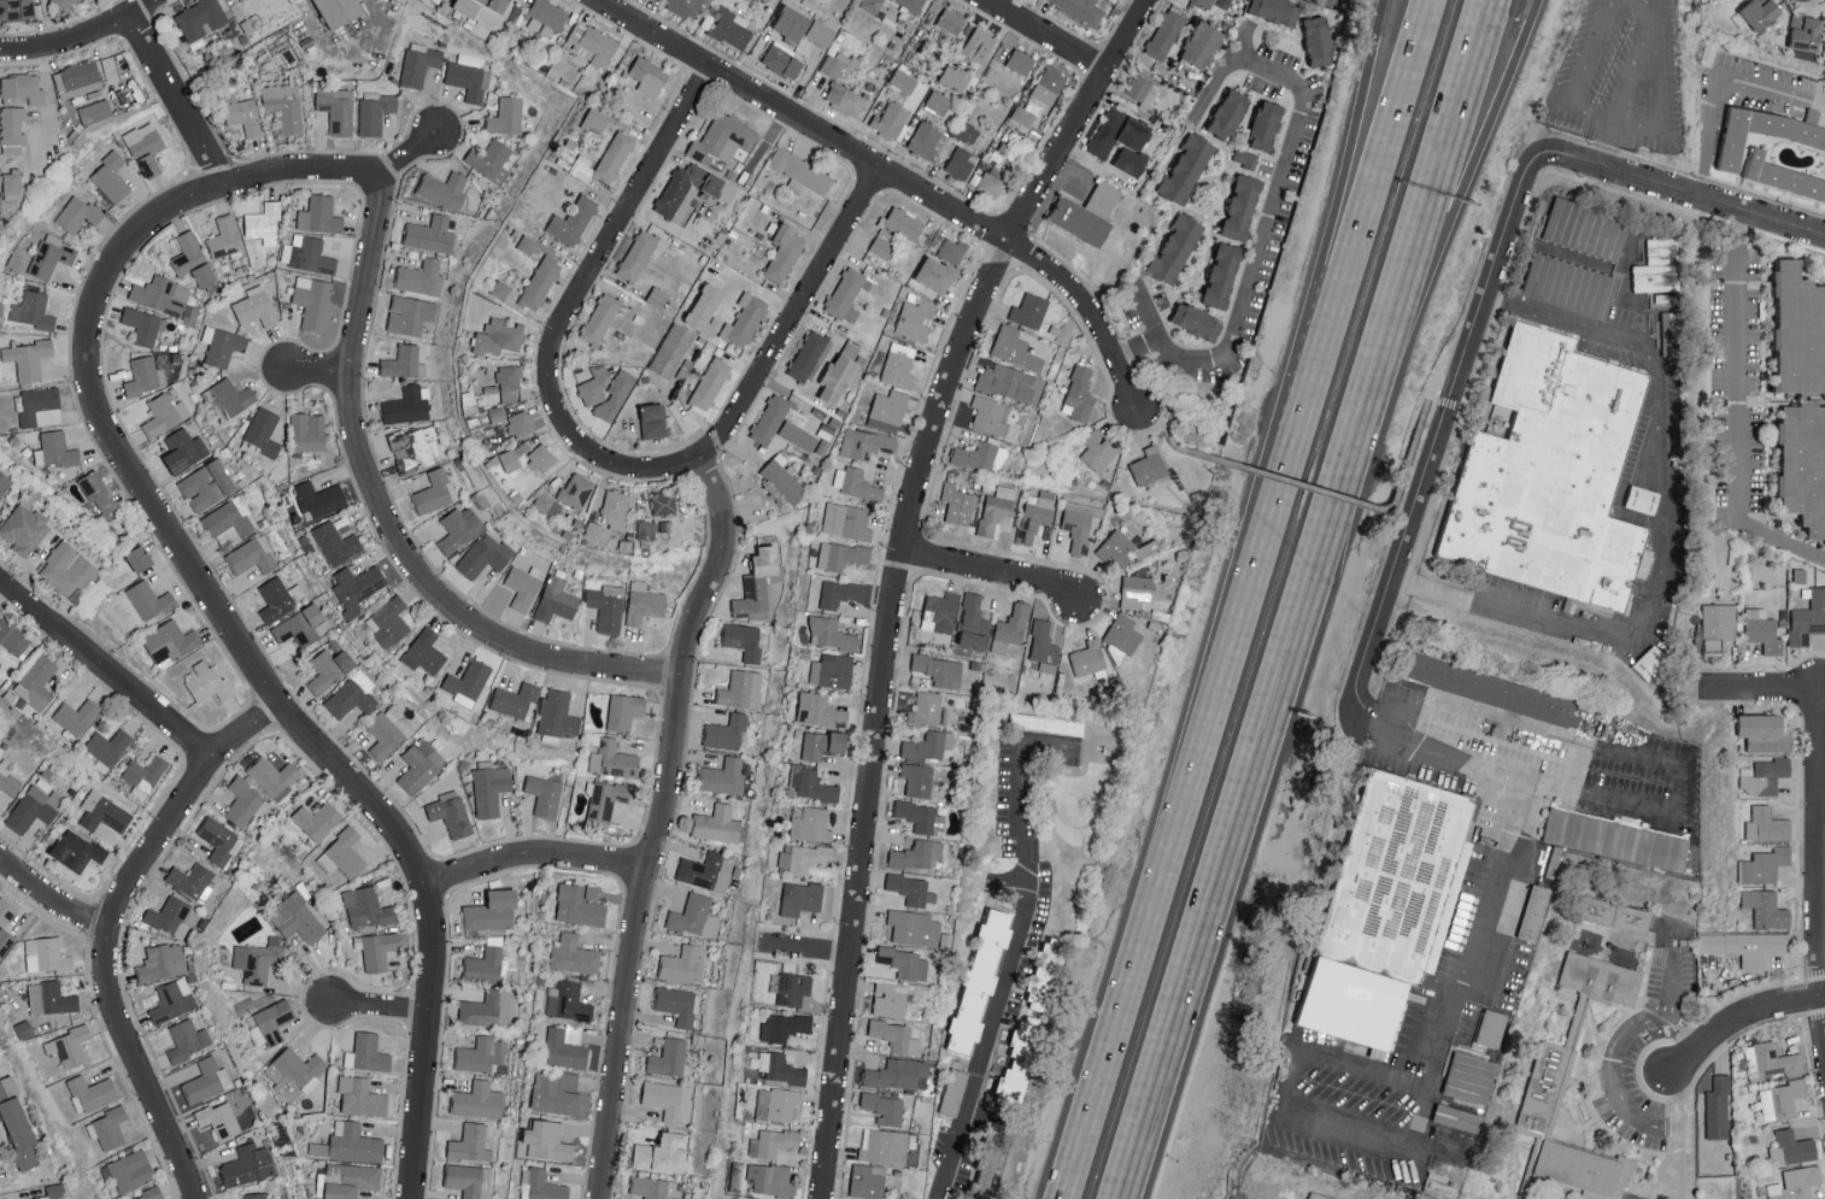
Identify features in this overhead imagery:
building: (241, 0)
parking lot: (1337, 1)
building: (1207, 2)
building: (64, 4)
building: (495, 4)
building: (912, 4)
building: (872, 5)
building: (466, 6)
building: (685, 6)
building: (16, 10)
building: (1082, 10)
building: (1275, 10)
building: (339, 11)
building: (1760, 12)
building: (546, 17)
building: (199, 19)
building: (951, 20)
building: (730, 28)
building: (821, 33)
road: (1055, 33)
building: (1166, 34)
building: (1805, 36)
road: (78, 37)
road: (1239, 39)
building: (1318, 40)
building: (592, 42)
building: (979, 43)
building: (1203, 45)
building: (1005, 51)
road: (347, 55)
building: (782, 58)
building: (838, 61)
building: (1020, 61)
building: (419, 63)
building: (649, 75)
building: (469, 76)
building: (955, 77)
building: (80, 80)
building: (903, 80)
road: (1710, 81)
building: (1049, 84)
building: (23, 87)
building: (1142, 87)
road: (48, 93)
road: (1655, 95)
road: (178, 96)
building: (845, 98)
building: (938, 102)
building: (284, 106)
building: (336, 107)
building: (94, 111)
building: (375, 113)
building: (1230, 113)
building: (1023, 114)
building: (245, 116)
building: (506, 116)
road: (1597, 116)
building: (595, 119)
building: (890, 119)
building: (1266, 125)
building: (12, 129)
building: (734, 130)
building: (967, 131)
building: (1765, 131)
building: (926, 140)
building: (1122, 140)
building: (706, 143)
building: (146, 147)
road: (1607, 147)
road: (416, 151)
building: (614, 157)
building: (1245, 158)
building: (491, 159)
building: (960, 163)
road: (1442, 167)
road: (1466, 167)
building: (1186, 169)
building: (800, 172)
road: (1067, 174)
road: (896, 175)
building: (1783, 176)
building: (111, 177)
building: (992, 180)
building: (11, 184)
road: (1277, 184)
building: (444, 189)
building: (691, 189)
building: (1104, 198)
road: (1691, 198)
building: (1243, 206)
building: (78, 213)
building: (319, 214)
building: (573, 221)
building: (1080, 221)
building: (264, 223)
building: (905, 223)
building: (1586, 229)
building: (428, 233)
building: (225, 237)
road: (1328, 242)
road: (1354, 242)
building: (884, 243)
building: (1175, 249)
building: (952, 251)
building: (785, 252)
building: (307, 254)
building: (638, 254)
building: (52, 255)
building: (193, 259)
road: (599, 260)
building: (1657, 266)
building: (937, 274)
building: (1222, 275)
building: (421, 276)
building: (540, 282)
building: (1569, 284)
building: (500, 289)
building: (162, 294)
building: (846, 294)
building: (658, 296)
building: (312, 301)
building: (256, 306)
building: (33, 310)
building: (706, 310)
building: (1029, 310)
building: (410, 315)
building: (600, 318)
building: (745, 318)
building: (916, 319)
building: (1197, 321)
building: (142, 324)
road: (1156, 329)
building: (1671, 333)
building: (1062, 334)
building: (499, 336)
building: (222, 345)
building: (1015, 348)
building: (671, 349)
building: (808, 355)
building: (29, 358)
building: (404, 362)
road: (768, 364)
building: (899, 365)
road: (322, 370)
building: (840, 374)
building: (145, 376)
building: (1011, 382)
building: (509, 383)
building: (710, 383)
building: (594, 386)
building: (1802, 393)
building: (616, 394)
building: (1079, 394)
building: (229, 398)
road: (1425, 401)
building: (469, 402)
building: (406, 405)
building: (39, 406)
building: (888, 410)
road: (1739, 411)
building: (164, 413)
building: (497, 415)
building: (990, 415)
building: (771, 418)
building: (653, 421)
building: (521, 423)
road: (1443, 428)
building: (264, 431)
building: (307, 431)
building: (798, 435)
road: (1172, 439)
building: (865, 443)
building: (417, 447)
building: (55, 449)
building: (184, 449)
building: (1098, 449)
building: (980, 455)
building: (541, 458)
building: (510, 459)
building: (1149, 465)
road: (1264, 471)
road: (1403, 474)
building: (1553, 475)
building: (782, 481)
building: (4, 483)
building: (855, 483)
building: (207, 484)
building: (577, 489)
building: (98, 490)
building: (435, 490)
road: (1346, 496)
building: (318, 499)
building: (1643, 499)
building: (663, 502)
building: (547, 504)
building: (957, 504)
building: (615, 509)
building: (997, 509)
building: (1035, 515)
road: (389, 519)
building: (230, 521)
building: (846, 521)
building: (1079, 524)
building: (24, 528)
building: (459, 528)
building: (645, 529)
building: (597, 531)
road: (1660, 536)
building: (336, 543)
building: (1121, 551)
building: (485, 554)
building: (252, 556)
building: (840, 556)
building: (139, 558)
building: (66, 569)
road: (899, 572)
road: (997, 572)
building: (761, 583)
building: (523, 586)
building: (358, 587)
building: (1140, 590)
building: (839, 593)
road: (211, 595)
building: (276, 598)
building: (151, 600)
building: (556, 600)
building: (645, 603)
building: (606, 606)
building: (940, 611)
building: (1807, 618)
building: (388, 621)
building: (974, 623)
building: (1718, 624)
building: (303, 625)
building: (1011, 628)
building: (1762, 630)
building: (829, 634)
building: (1123, 634)
building: (1698, 636)
building: (12, 637)
building: (744, 640)
building: (170, 642)
building: (1044, 646)
building: (426, 651)
building: (1087, 657)
building: (1651, 662)
road: (108, 668)
building: (329, 669)
building: (831, 670)
building: (940, 670)
building: (206, 681)
building: (36, 682)
building: (466, 682)
road: (1757, 687)
building: (1492, 688)
building: (741, 689)
building: (352, 697)
building: (515, 699)
road: (1469, 709)
building: (818, 710)
building: (931, 710)
building: (624, 711)
building: (557, 715)
building: (76, 716)
building: (387, 731)
building: (726, 731)
building: (1764, 731)
building: (822, 744)
building: (108, 745)
building: (928, 746)
building: (614, 759)
road: (1443, 759)
building: (421, 765)
road: (1257, 766)
road: (1575, 769)
building: (723, 774)
building: (143, 775)
building: (1765, 775)
building: (274, 776)
building: (7, 780)
building: (917, 780)
building: (811, 786)
building: (491, 789)
building: (545, 794)
road: (1673, 798)
building: (242, 801)
building: (605, 801)
building: (34, 807)
building: (104, 811)
building: (451, 812)
building: (921, 816)
building: (317, 819)
road: (659, 823)
building: (809, 823)
building: (718, 824)
building: (1766, 824)
building: (1619, 836)
building: (218, 840)
road: (1170, 842)
building: (77, 850)
building: (342, 853)
building: (916, 854)
building: (802, 857)
road: (534, 858)
road: (1820, 860)
building: (1765, 864)
building: (706, 870)
building: (1403, 872)
building: (192, 880)
building: (909, 888)
road: (53, 898)
building: (800, 898)
building: (580, 904)
building: (366, 907)
building: (1766, 909)
building: (492, 910)
building: (1537, 910)
building: (168, 913)
building: (694, 916)
building: (297, 917)
building: (1619, 925)
building: (914, 927)
road: (112, 929)
building: (1748, 946)
road: (1011, 947)
road: (1296, 947)
building: (376, 948)
road: (808, 952)
building: (46, 954)
building: (573, 954)
building: (162, 960)
building: (257, 960)
building: (485, 962)
building: (904, 962)
building: (685, 963)
building: (1046, 971)
building: (979, 980)
building: (1602, 986)
building: (790, 987)
building: (51, 998)
building: (891, 998)
building: (172, 1000)
building: (567, 1000)
building: (1357, 1000)
building: (677, 1004)
road: (382, 1006)
building: (486, 1009)
road: (1670, 1009)
building: (1578, 1017)
building: (274, 1019)
road: (1738, 1023)
building: (784, 1025)
building: (1031, 1025)
building: (1494, 1027)
building: (896, 1035)
building: (189, 1036)
building: (69, 1046)
building: (565, 1046)
building: (366, 1052)
building: (481, 1053)
building: (669, 1057)
building: (1770, 1060)
building: (779, 1066)
building: (295, 1072)
building: (898, 1074)
building: (1472, 1075)
building: (206, 1080)
building: (1014, 1081)
road: (1401, 1081)
road: (1618, 1081)
building: (554, 1092)
building: (952, 1092)
building: (92, 1093)
building: (360, 1095)
building: (477, 1099)
building: (669, 1099)
building: (1782, 1099)
building: (775, 1104)
building: (1545, 1105)
building: (884, 1107)
building: (1718, 1107)
building: (219, 1118)
building: (17, 1123)
building: (108, 1127)
road: (1683, 1134)
building: (547, 1140)
building: (354, 1141)
building: (770, 1141)
building: (470, 1142)
building: (882, 1145)
building: (1790, 1147)
road: (1439, 1151)
building: (663, 1152)
building: (247, 1164)
building: (986, 1165)
building: (129, 1170)
building: (769, 1179)
building: (351, 1180)
building: (470, 1180)
building: (867, 1180)
building: (540, 1185)
building: (1791, 1185)
building: (655, 1187)
building: (57, 1189)
building: (149, 1194)
building: (254, 1195)
building: (33, 1198)
building: (749, 1198)
building: (1318, 1198)

